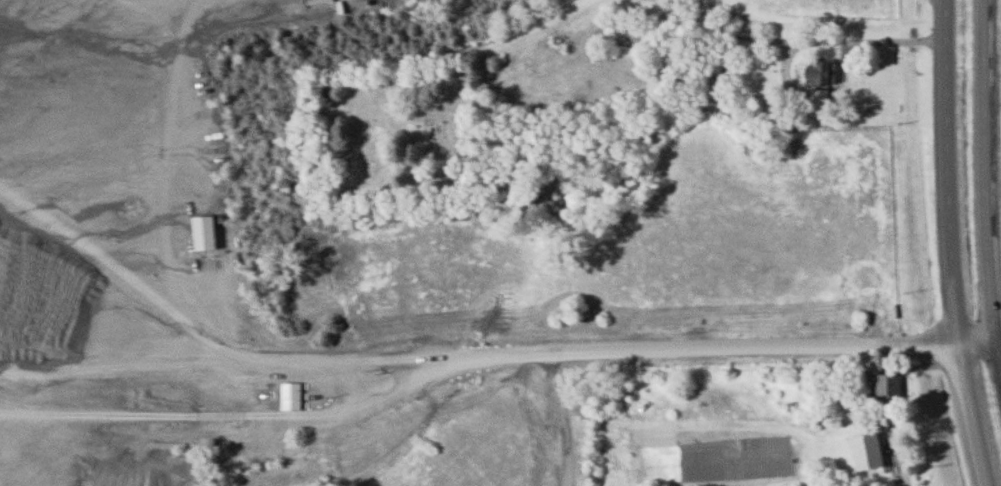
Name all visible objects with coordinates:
road: (948, 3)
road: (864, 44)
building: (820, 74)
park: (390, 129)
road: (988, 167)
road: (170, 176)
building: (208, 233)
road: (956, 244)
road: (500, 355)
building: (891, 391)
building: (292, 397)
building: (868, 453)
road: (899, 453)

